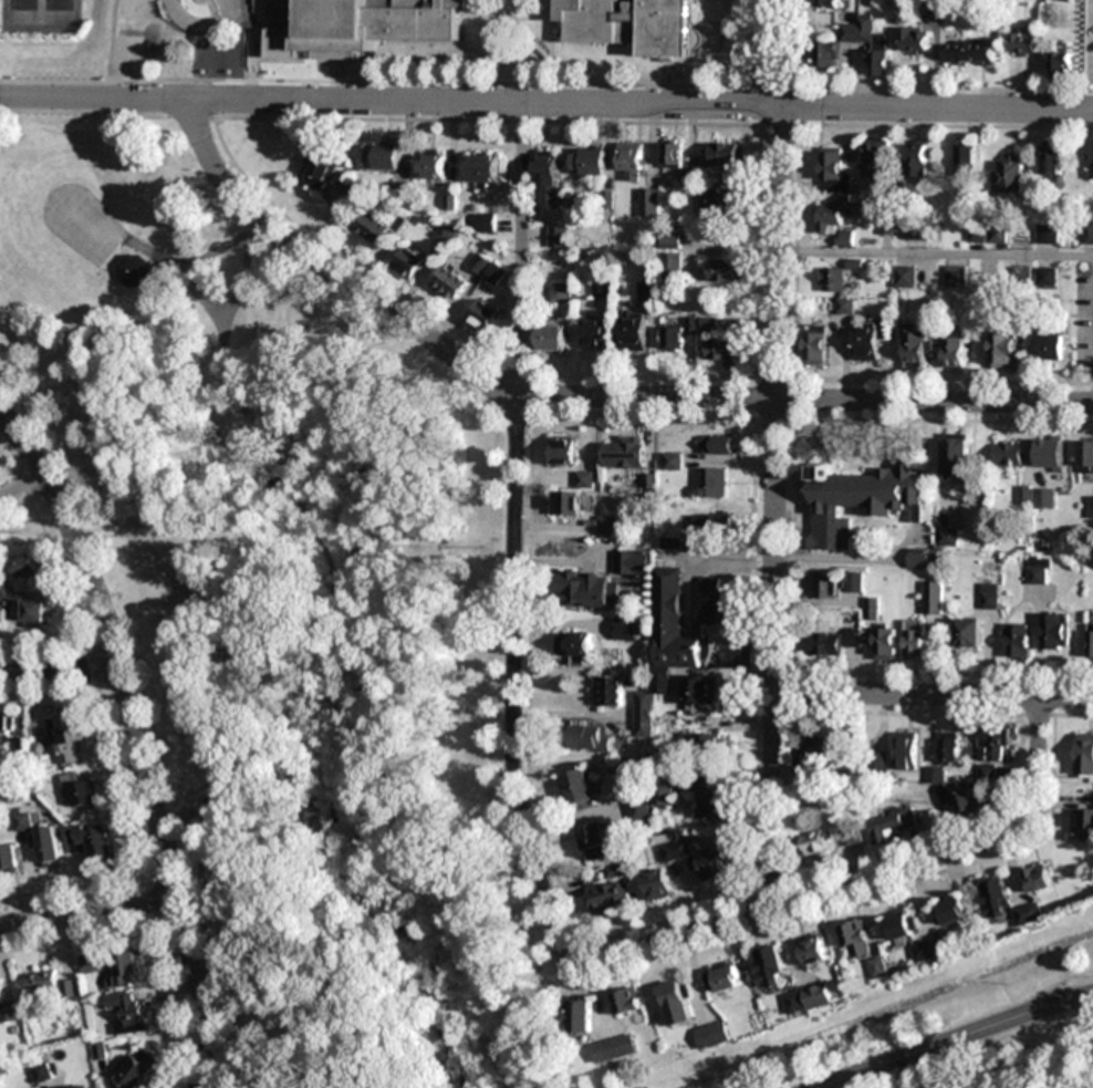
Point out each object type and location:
building: (1059, 0)
building: (827, 3)
park: (21, 4)
park: (58, 6)
building: (934, 6)
building: (410, 21)
building: (624, 24)
building: (313, 29)
building: (914, 40)
building: (1023, 41)
parking lot: (1089, 42)
building: (867, 43)
building: (968, 51)
building: (826, 54)
building: (1059, 64)
road: (546, 103)
building: (726, 154)
building: (673, 155)
building: (383, 157)
building: (876, 157)
building: (916, 158)
building: (1091, 158)
building: (965, 159)
building: (1052, 159)
building: (589, 160)
building: (631, 160)
building: (434, 165)
building: (320, 170)
building: (482, 170)
building: (833, 170)
building: (1011, 173)
building: (548, 177)
building: (718, 200)
building: (648, 201)
building: (833, 221)
building: (486, 222)
building: (1087, 231)
building: (108, 232)
building: (1048, 234)
building: (558, 237)
building: (673, 241)
road: (887, 251)
building: (408, 262)
road: (521, 265)
building: (673, 267)
building: (487, 268)
building: (727, 270)
building: (135, 272)
building: (905, 276)
building: (956, 276)
building: (1048, 276)
building: (832, 279)
building: (450, 283)
building: (482, 318)
building: (635, 331)
building: (594, 333)
building: (674, 338)
building: (551, 339)
building: (866, 341)
building: (815, 344)
building: (916, 345)
building: (1052, 346)
building: (1003, 349)
building: (724, 351)
building: (955, 352)
road: (797, 400)
building: (725, 444)
building: (564, 450)
building: (626, 452)
building: (1050, 453)
road: (774, 454)
building: (1008, 454)
building: (956, 455)
building: (1085, 456)
building: (676, 460)
building: (587, 478)
building: (716, 481)
road: (20, 483)
road: (517, 487)
building: (1043, 497)
building: (861, 500)
building: (568, 504)
building: (1091, 506)
building: (714, 521)
building: (610, 526)
building: (947, 537)
building: (923, 558)
building: (633, 563)
building: (24, 567)
building: (1038, 569)
building: (854, 581)
building: (825, 587)
building: (589, 589)
building: (933, 597)
building: (989, 597)
park: (287, 603)
building: (722, 607)
building: (873, 608)
building: (34, 613)
building: (673, 624)
building: (625, 629)
building: (1054, 630)
building: (968, 633)
building: (915, 639)
building: (834, 641)
building: (1016, 641)
building: (1089, 641)
building: (886, 643)
building: (575, 646)
road: (60, 665)
building: (611, 692)
building: (702, 693)
road: (933, 695)
building: (645, 715)
building: (6, 723)
building: (67, 736)
building: (590, 737)
road: (137, 738)
building: (992, 743)
building: (709, 744)
building: (950, 747)
building: (21, 748)
building: (907, 750)
building: (816, 753)
building: (1084, 755)
building: (872, 763)
building: (935, 775)
building: (579, 787)
building: (665, 788)
building: (82, 791)
building: (966, 802)
building: (714, 804)
building: (639, 806)
building: (22, 821)
building: (1083, 821)
building: (889, 823)
building: (91, 839)
building: (596, 841)
building: (815, 842)
building: (49, 850)
building: (676, 850)
building: (8, 858)
building: (711, 864)
road: (895, 870)
building: (1040, 878)
building: (658, 884)
building: (611, 900)
building: (1008, 902)
road: (87, 910)
building: (954, 911)
building: (856, 939)
building: (934, 949)
building: (814, 952)
building: (92, 963)
building: (770, 967)
building: (881, 967)
building: (125, 968)
building: (724, 977)
building: (51, 984)
building: (810, 998)
building: (629, 1001)
building: (678, 1003)
railway: (893, 1008)
building: (9, 1012)
building: (128, 1014)
building: (583, 1016)
building: (714, 1035)
road: (956, 1038)
building: (616, 1048)
building: (137, 1068)
building: (41, 1073)
building: (85, 1087)

